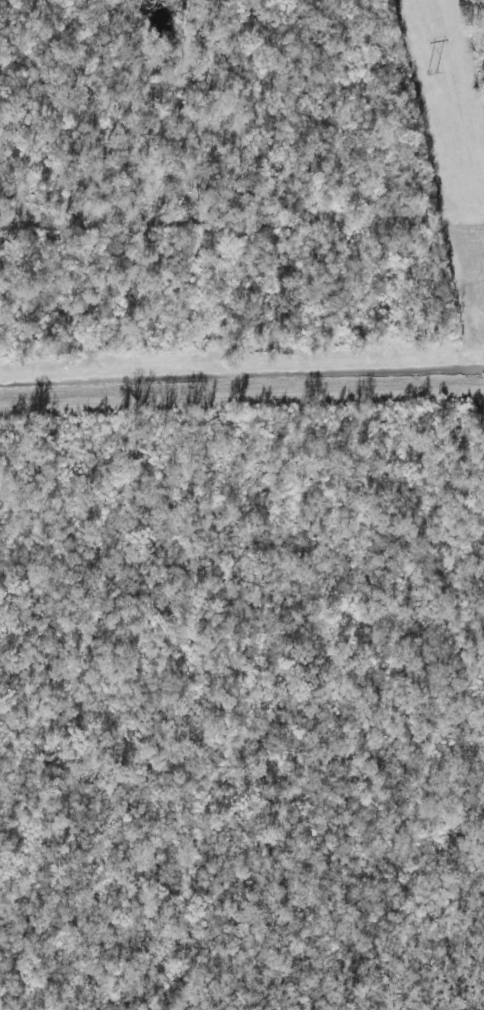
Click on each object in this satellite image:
power tower: (432, 74)

